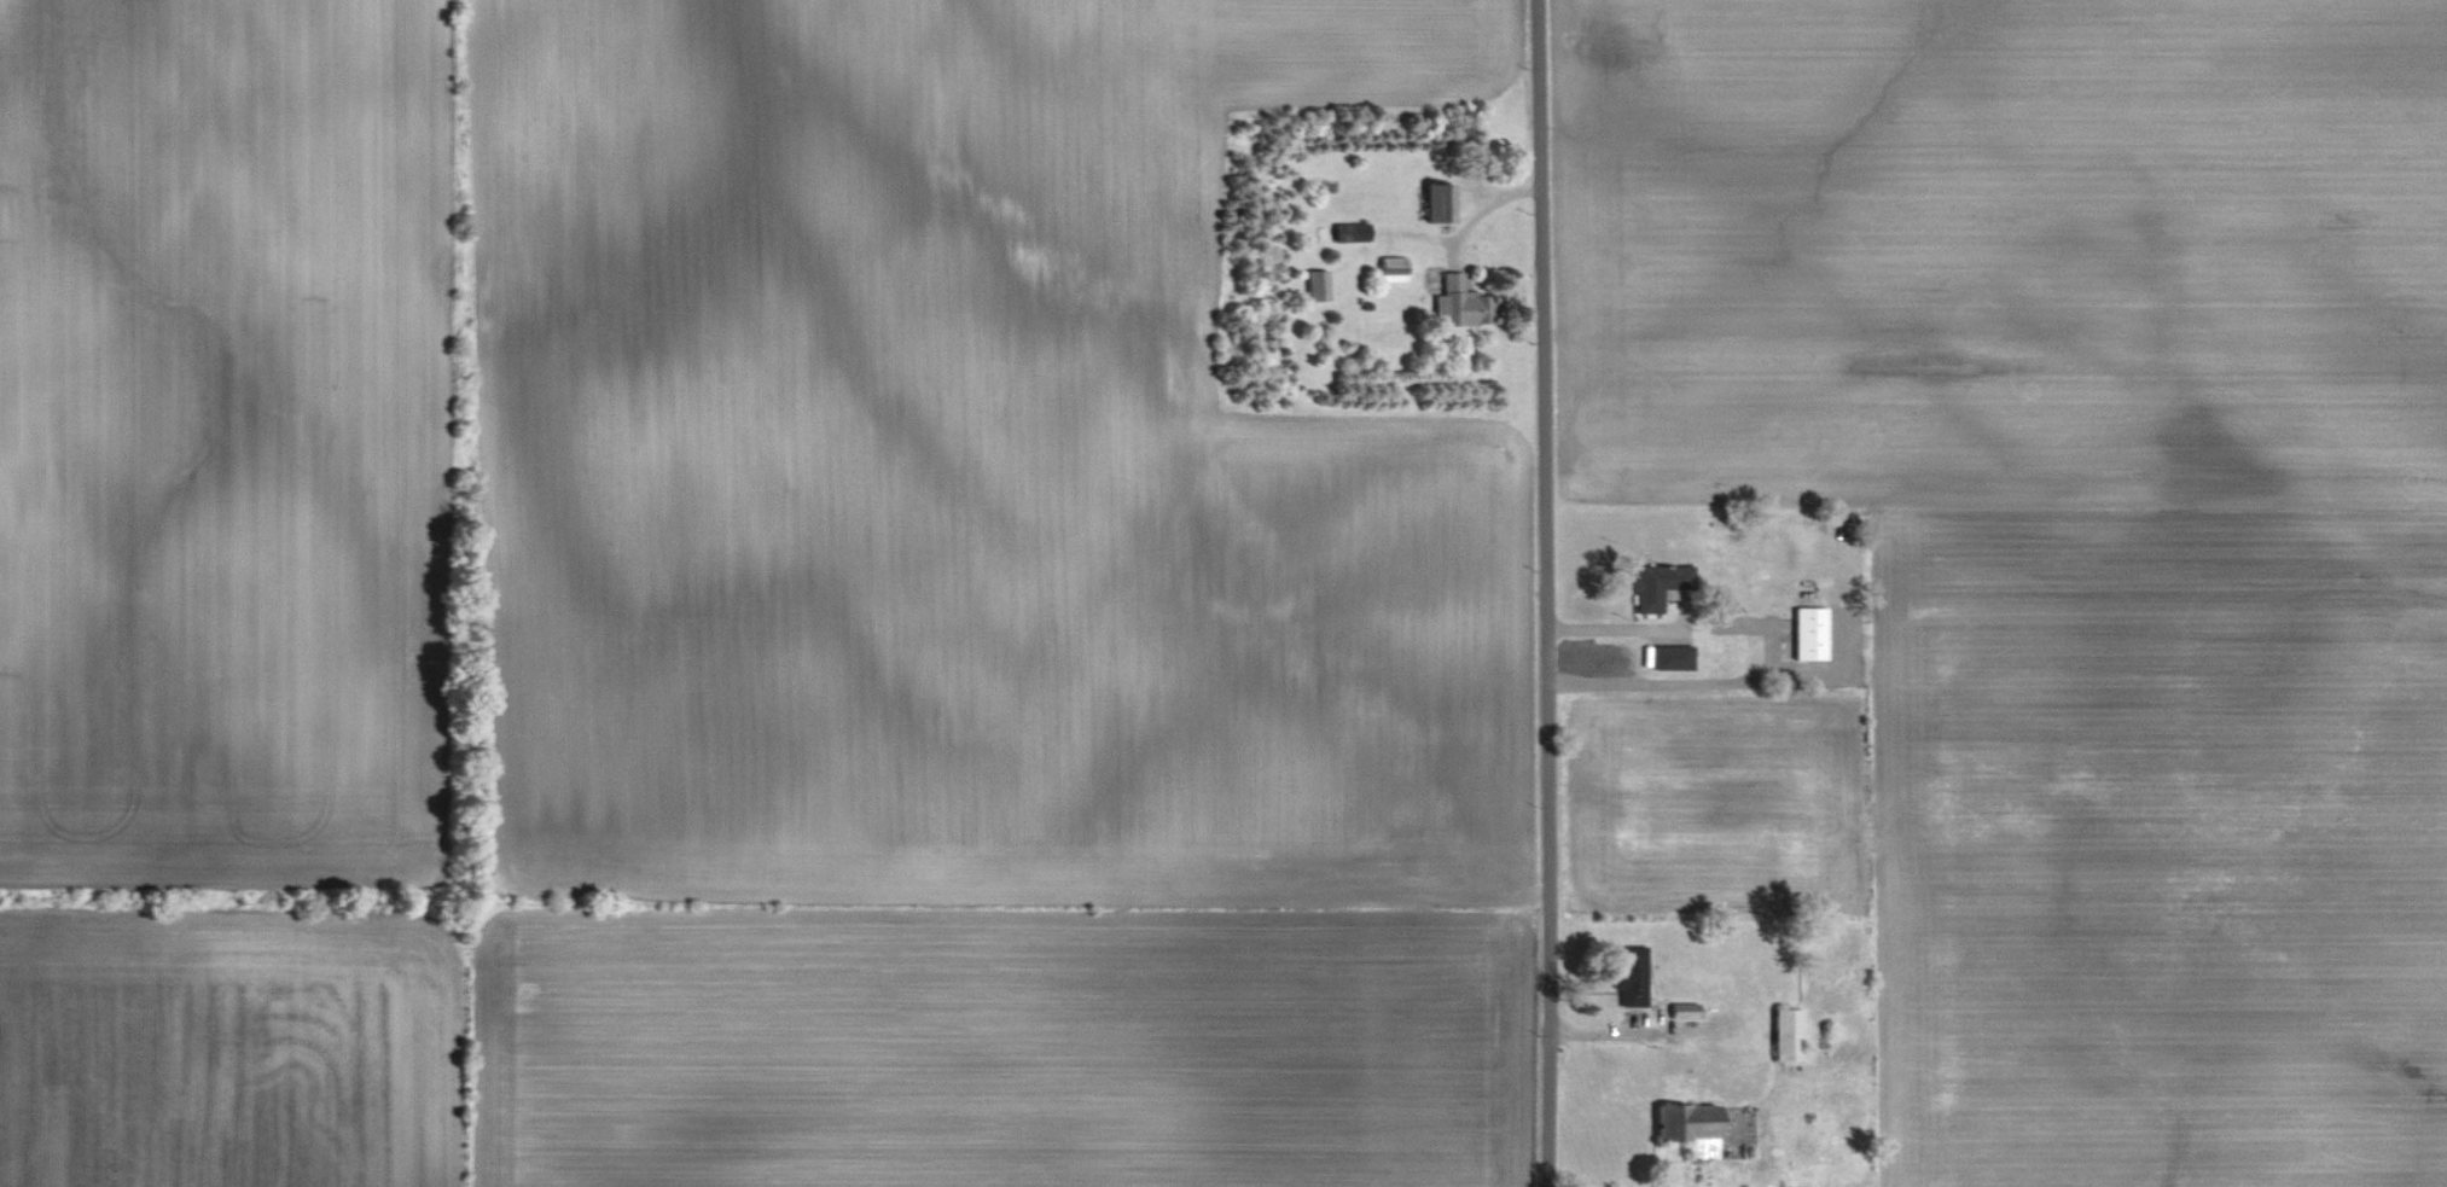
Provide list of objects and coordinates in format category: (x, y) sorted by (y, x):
building: (1441, 202)
building: (1352, 232)
building: (1394, 268)
building: (1318, 285)
building: (1463, 304)
building: (1660, 586)
road: (1546, 593)
building: (1812, 634)
road: (1772, 648)
building: (1633, 977)
building: (1685, 1012)
building: (1788, 1035)
building: (1691, 1129)

